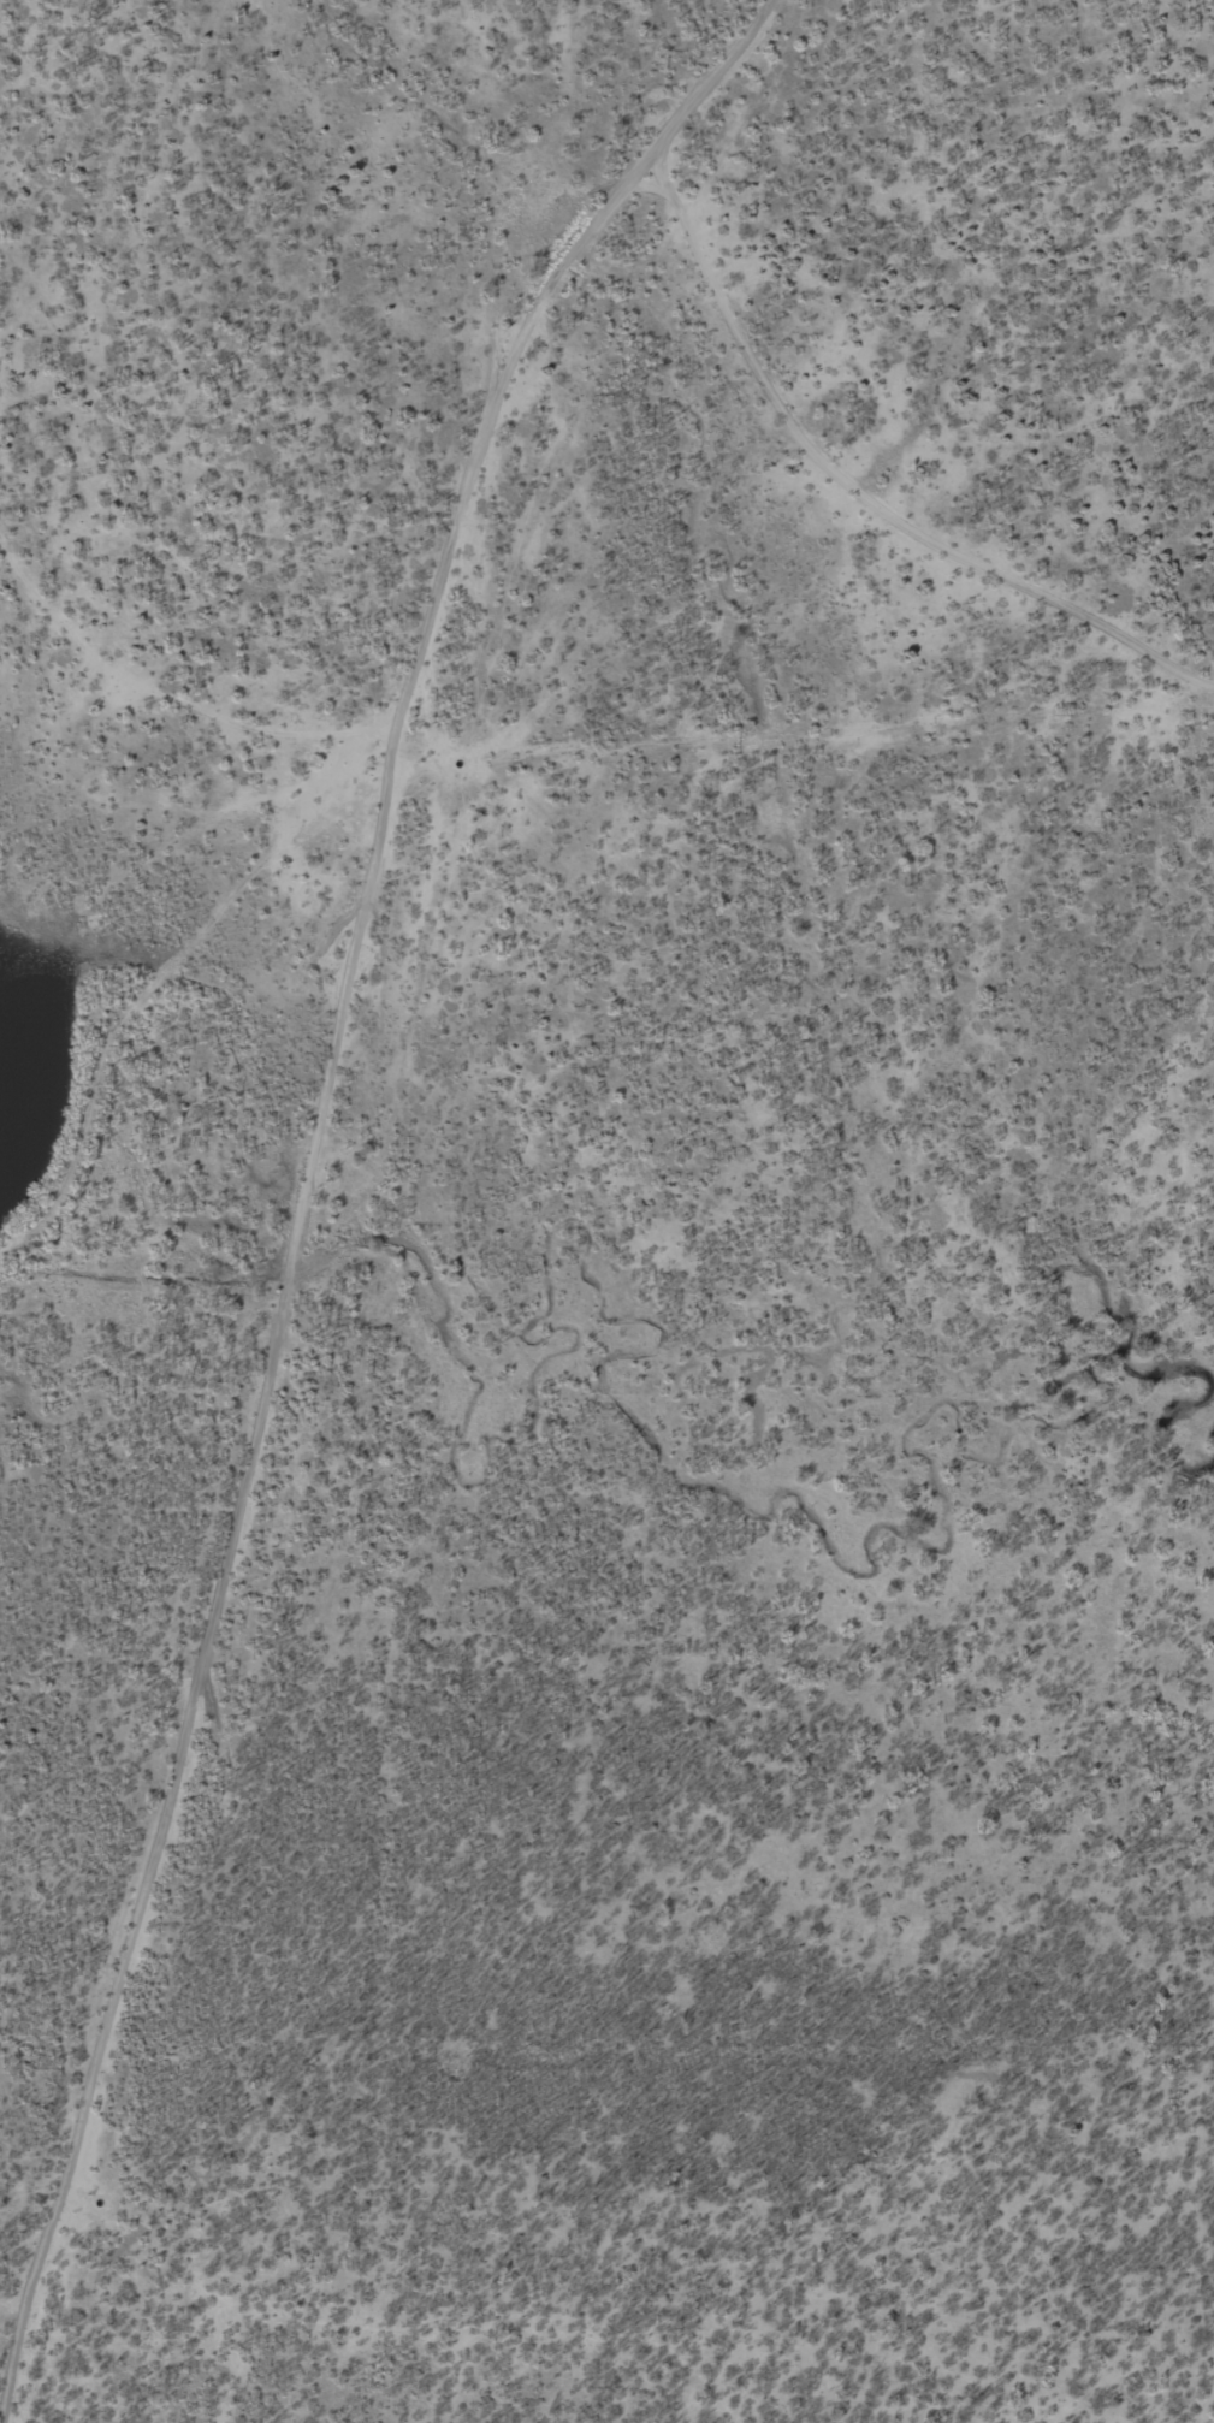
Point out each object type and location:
road: (864, 516)
road: (150, 562)
road: (284, 1142)

